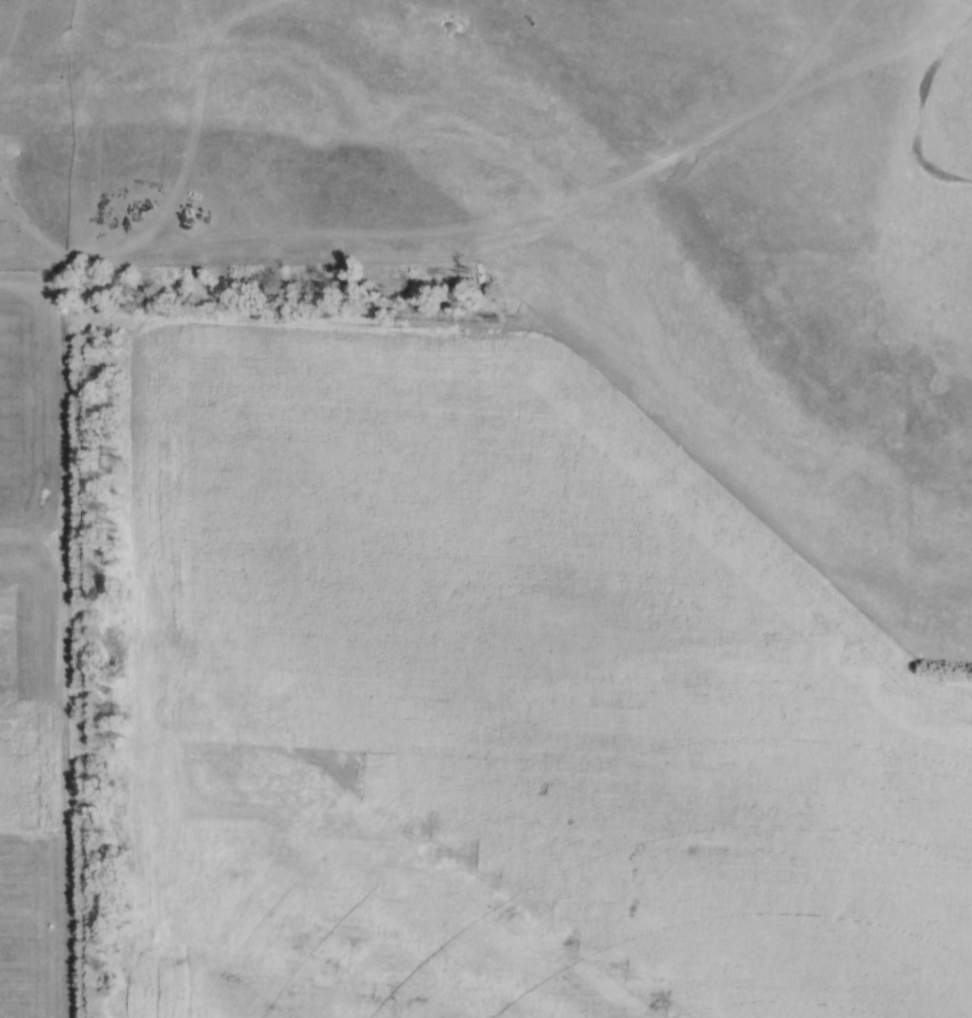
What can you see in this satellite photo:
building: (371, 965)

